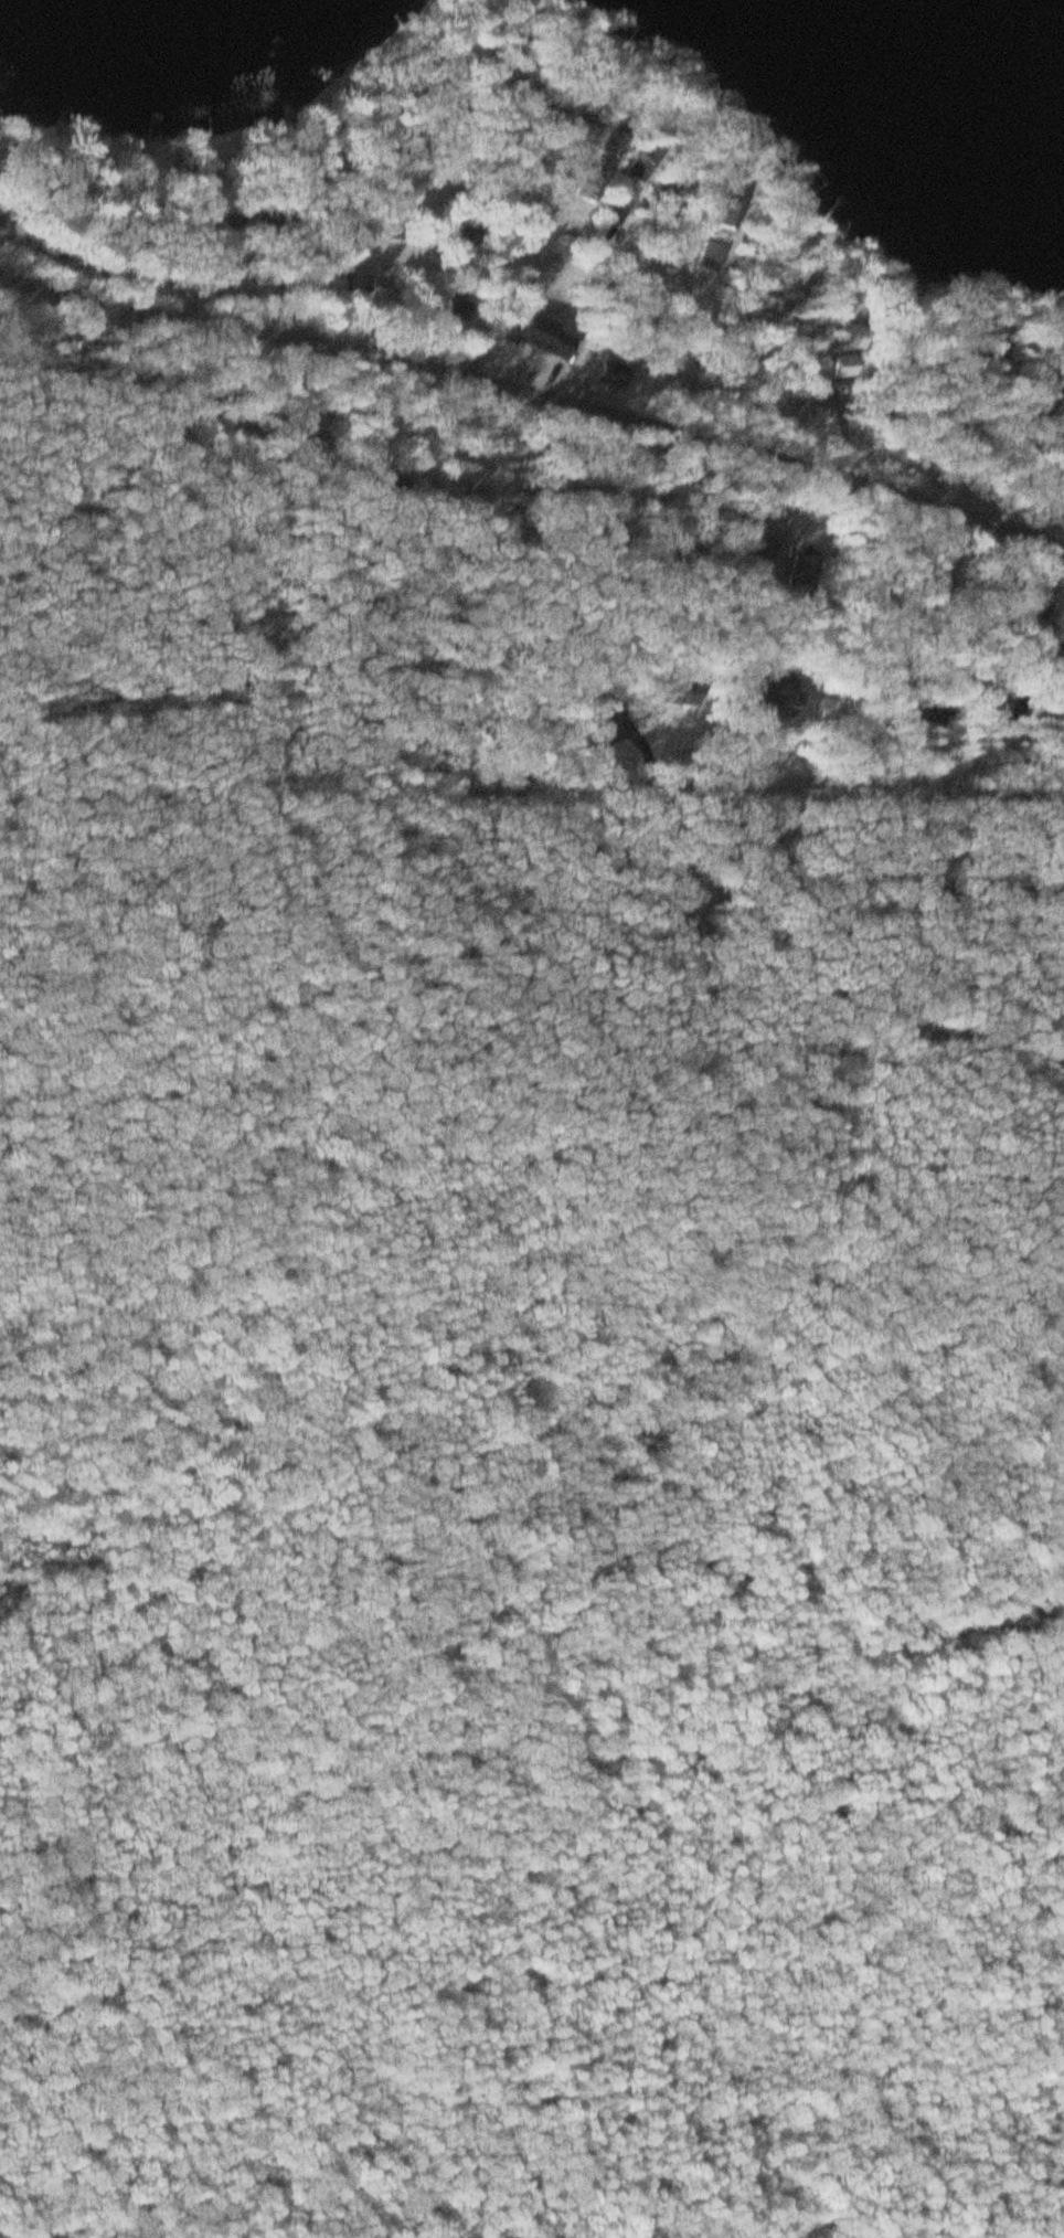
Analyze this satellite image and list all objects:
road: (441, 83)
building: (556, 110)
building: (587, 135)
building: (598, 187)
building: (623, 210)
building: (731, 215)
building: (233, 220)
building: (387, 226)
building: (471, 235)
road: (425, 256)
building: (714, 257)
road: (7, 279)
building: (384, 299)
building: (460, 311)
road: (683, 330)
building: (859, 338)
building: (849, 369)
building: (617, 374)
road: (535, 378)
road: (249, 569)
building: (787, 694)
building: (755, 696)
building: (1015, 712)
road: (728, 761)

